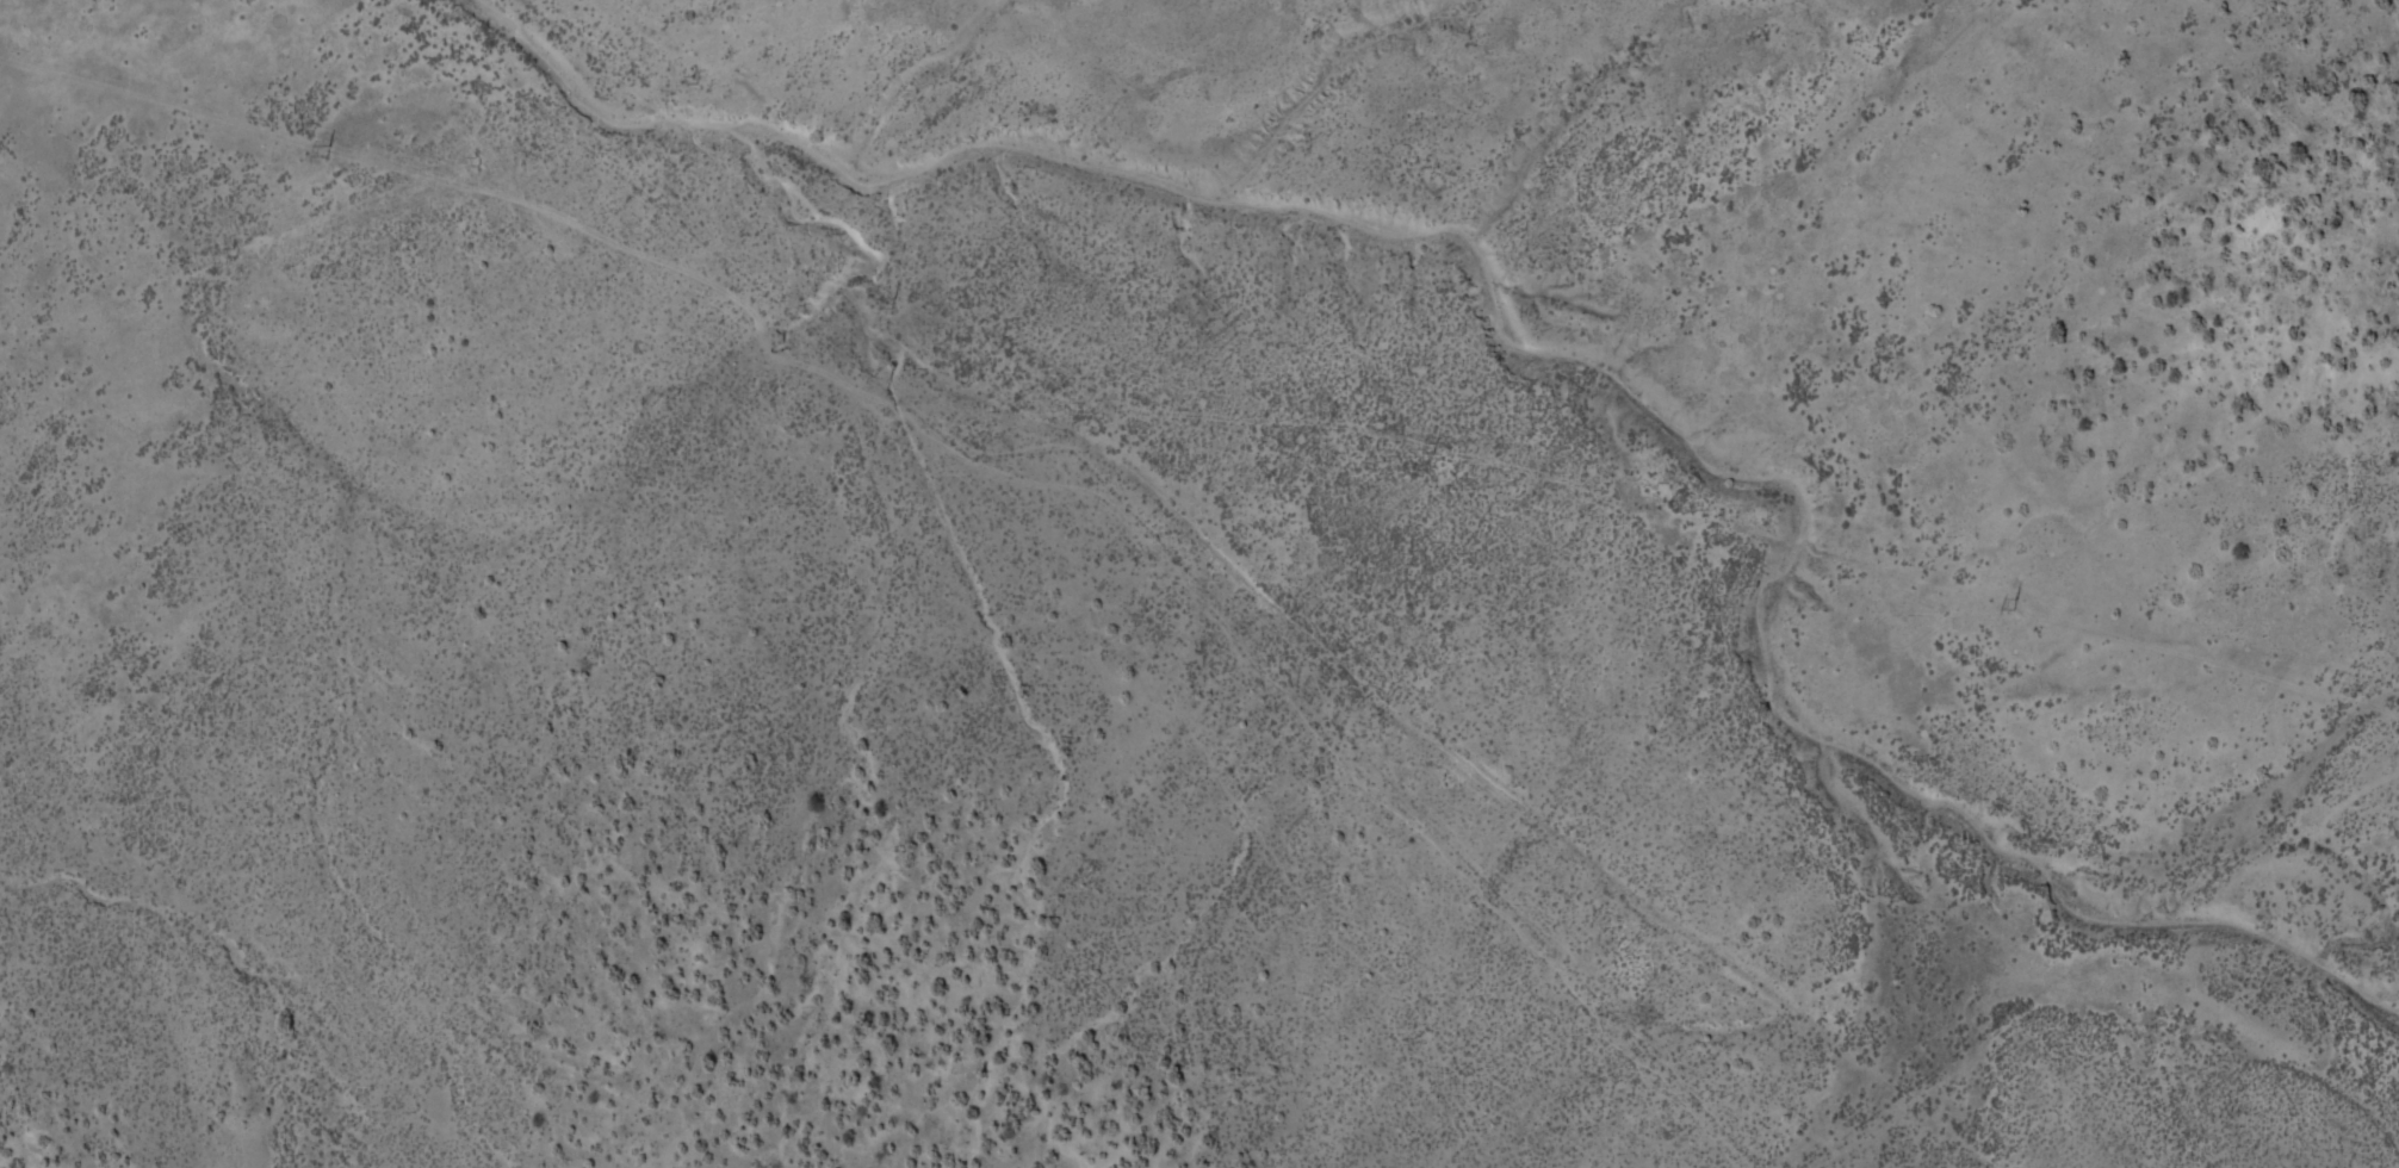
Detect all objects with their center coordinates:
road: (391, 167)
power tower: (1431, 448)
road: (1197, 589)
power tower: (2014, 603)

